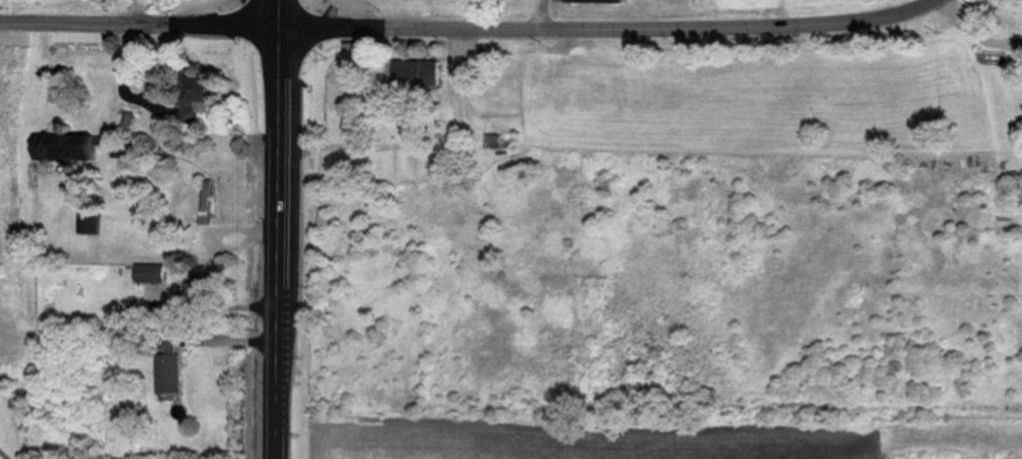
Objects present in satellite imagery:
building: (562, 0)
road: (548, 15)
road: (145, 28)
road: (617, 31)
road: (977, 35)
building: (418, 74)
building: (195, 99)
building: (495, 141)
building: (70, 148)
building: (207, 212)
road: (285, 229)
building: (151, 274)
park: (12, 361)
building: (169, 363)
road: (6, 453)

